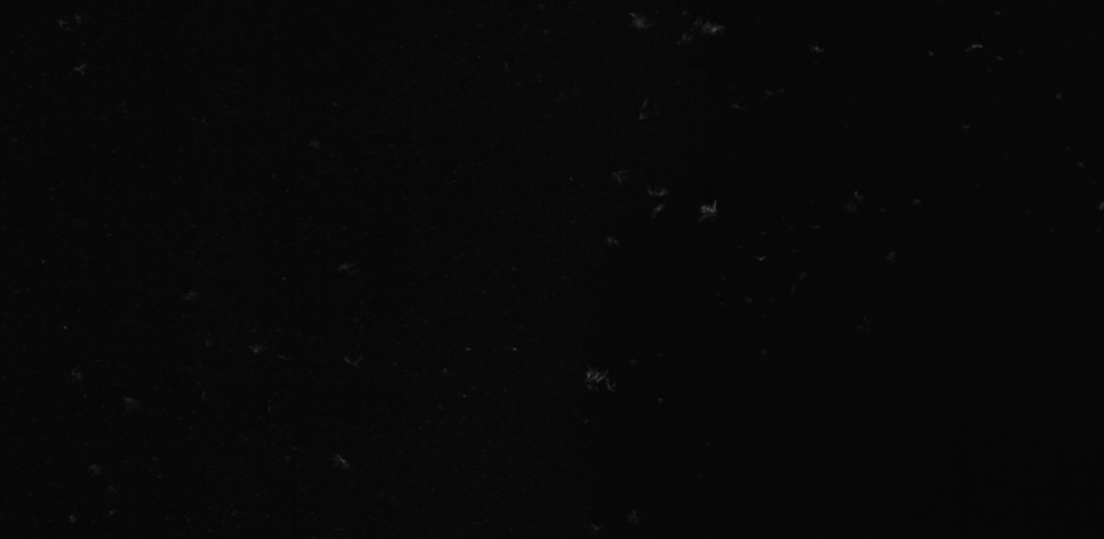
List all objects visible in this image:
building: (665, 192)
building: (707, 206)

